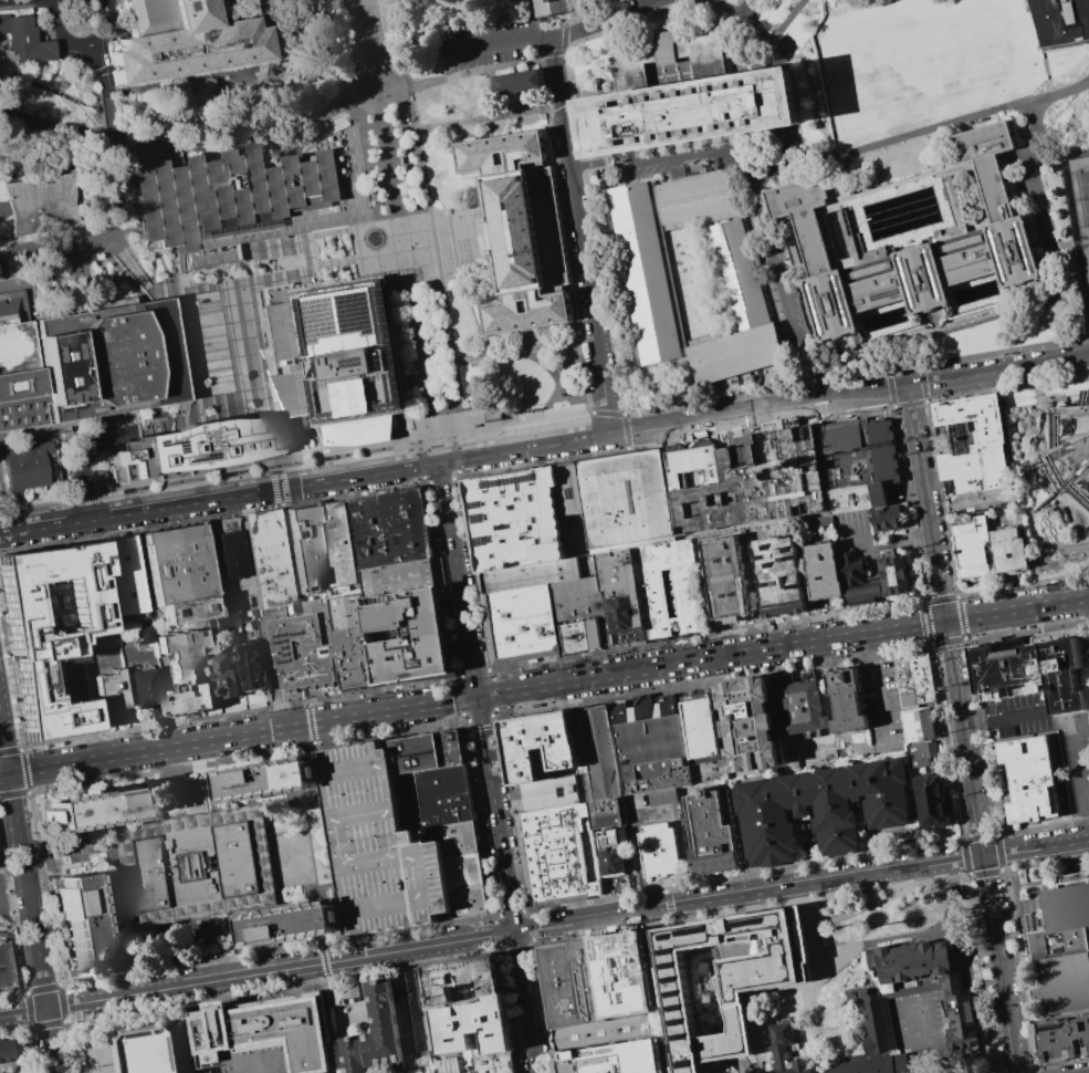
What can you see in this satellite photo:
road: (18, 0)
road: (55, 1)
road: (217, 2)
building: (551, 7)
road: (621, 7)
road: (750, 10)
road: (593, 12)
road: (659, 14)
road: (792, 15)
road: (607, 22)
road: (673, 22)
building: (1061, 22)
road: (753, 24)
road: (367, 31)
road: (564, 39)
building: (23, 40)
building: (182, 41)
road: (501, 41)
road: (82, 44)
parking lot: (488, 45)
building: (664, 45)
road: (554, 50)
road: (743, 50)
road: (565, 52)
road: (552, 54)
road: (666, 54)
road: (541, 60)
road: (452, 63)
road: (779, 65)
road: (102, 71)
road: (467, 75)
building: (517, 82)
road: (237, 83)
road: (609, 87)
road: (347, 92)
road: (575, 92)
road: (813, 94)
road: (241, 97)
road: (784, 97)
road: (570, 98)
road: (561, 102)
building: (687, 102)
road: (108, 104)
road: (188, 105)
road: (548, 107)
road: (1059, 114)
road: (486, 119)
road: (961, 121)
road: (111, 127)
road: (494, 131)
road: (586, 131)
road: (404, 133)
road: (772, 136)
road: (788, 136)
road: (282, 144)
road: (192, 146)
road: (803, 146)
road: (704, 153)
road: (1064, 156)
road: (768, 168)
road: (116, 171)
building: (232, 191)
park: (1082, 197)
building: (695, 198)
park: (1082, 198)
road: (561, 202)
parking lot: (1081, 205)
building: (45, 207)
road: (338, 209)
road: (430, 209)
road: (447, 209)
road: (442, 210)
road: (480, 210)
road: (115, 213)
building: (1079, 217)
road: (339, 230)
building: (521, 230)
road: (1053, 230)
road: (321, 235)
fountain: (377, 239)
building: (913, 241)
road: (583, 248)
road: (115, 249)
road: (64, 250)
road: (395, 252)
road: (405, 252)
road: (790, 252)
road: (407, 253)
road: (348, 254)
park: (1088, 260)
road: (321, 263)
building: (736, 272)
road: (477, 274)
building: (646, 274)
road: (336, 275)
road: (711, 278)
road: (783, 280)
road: (149, 283)
road: (158, 287)
rooftop solar panel: (341, 289)
road: (674, 292)
rooftop solar panel: (383, 304)
rooftop solar panel: (362, 309)
rooftop solar panel: (307, 312)
rooftop solar panel: (327, 313)
road: (475, 322)
road: (940, 333)
road: (588, 340)
rooftop solar panel: (70, 344)
road: (580, 344)
rooftop solar panel: (49, 345)
rooftop solar panel: (62, 351)
road: (523, 351)
building: (343, 354)
building: (736, 354)
rooftop solar panel: (364, 356)
building: (107, 361)
road: (440, 364)
building: (17, 366)
road: (614, 366)
rooftop solar panel: (61, 376)
road: (585, 377)
road: (561, 379)
road: (561, 382)
road: (922, 382)
rooftop solar panel: (395, 384)
rooftop solar panel: (78, 387)
road: (889, 387)
road: (1007, 388)
rooftop solar panel: (55, 392)
road: (849, 396)
rooftop solar panel: (320, 402)
road: (910, 403)
rooftop solar panel: (386, 404)
road: (290, 410)
rooftop solar panel: (334, 410)
road: (591, 412)
road: (855, 412)
road: (565, 414)
road: (608, 414)
parking lot: (142, 430)
road: (626, 430)
building: (358, 431)
road: (452, 437)
rooftop solar panel: (266, 439)
rooftop solar panel: (171, 440)
road: (420, 442)
building: (972, 444)
rooftop solar panel: (190, 446)
road: (287, 446)
road: (391, 446)
rooftop solar panel: (220, 447)
road: (629, 447)
road: (637, 447)
road: (525, 449)
building: (189, 450)
building: (1056, 451)
rooftop solar panel: (200, 452)
road: (437, 452)
rooftop solar panel: (159, 455)
road: (901, 455)
road: (454, 456)
road: (320, 459)
road: (87, 461)
road: (422, 462)
road: (55, 463)
traffic signals: (439, 463)
building: (23, 467)
road: (457, 472)
road: (454, 477)
road: (275, 478)
rooftop solar panel: (523, 478)
road: (440, 480)
building: (747, 480)
road: (428, 481)
road: (324, 482)
rooftop solar panel: (494, 483)
parking lot: (903, 483)
road: (1020, 486)
building: (983, 497)
road: (279, 498)
road: (942, 498)
road: (85, 499)
building: (625, 500)
road: (22, 503)
rooftop solar panel: (482, 503)
road: (926, 503)
road: (36, 507)
road: (149, 510)
road: (212, 517)
rooftop solar panel: (482, 518)
building: (888, 522)
road: (45, 528)
building: (528, 528)
building: (392, 531)
parking lot: (857, 533)
road: (923, 540)
rooftop solar panel: (484, 541)
building: (337, 545)
road: (878, 548)
building: (974, 548)
building: (1011, 550)
building: (304, 551)
road: (915, 552)
building: (228, 553)
road: (289, 561)
building: (268, 562)
rooftop solar panel: (771, 563)
building: (824, 570)
building: (178, 575)
building: (875, 575)
building: (125, 576)
building: (779, 576)
road: (474, 577)
road: (458, 580)
road: (440, 581)
building: (726, 581)
building: (401, 582)
road: (1023, 584)
building: (687, 592)
building: (619, 596)
building: (576, 598)
building: (245, 602)
road: (672, 607)
traffic signals: (946, 621)
building: (221, 623)
building: (521, 623)
building: (50, 627)
rooftop solar panel: (295, 633)
rooftop solar panel: (283, 634)
building: (578, 635)
road: (706, 635)
building: (143, 637)
building: (352, 637)
building: (410, 637)
road: (964, 638)
rooftop solar panel: (285, 639)
building: (105, 640)
road: (873, 645)
rooftop solar panel: (287, 646)
building: (301, 649)
parking lot: (1086, 652)
rooftop solar panel: (289, 653)
road: (301, 653)
rooftop solar panel: (289, 659)
building: (254, 666)
road: (488, 670)
road: (473, 673)
building: (1038, 673)
building: (186, 674)
building: (226, 677)
building: (913, 679)
road: (10, 685)
road: (548, 685)
road: (493, 687)
building: (142, 688)
building: (111, 690)
road: (458, 692)
traffic signals: (477, 697)
road: (881, 698)
building: (845, 700)
parking lot: (881, 705)
road: (308, 706)
building: (802, 710)
road: (241, 712)
parking lot: (1017, 713)
road: (1006, 719)
building: (752, 725)
building: (918, 725)
building: (703, 728)
road: (354, 733)
building: (540, 743)
building: (651, 743)
road: (4, 744)
building: (456, 752)
building: (924, 753)
building: (421, 758)
parking lot: (1076, 760)
building: (601, 769)
road: (4, 773)
traffic signals: (9, 773)
road: (24, 773)
road: (213, 778)
road: (1081, 778)
building: (1032, 779)
building: (270, 782)
road: (147, 788)
building: (551, 793)
building: (932, 801)
building: (441, 803)
road: (251, 805)
building: (826, 808)
building: (96, 810)
road: (495, 813)
road: (118, 825)
building: (712, 832)
road: (109, 840)
road: (331, 841)
road: (377, 842)
building: (465, 844)
road: (981, 846)
building: (387, 847)
parking lot: (387, 847)
building: (612, 851)
building: (660, 851)
building: (558, 855)
road: (302, 861)
road: (66, 862)
building: (195, 866)
road: (12, 871)
building: (471, 874)
parking lot: (950, 879)
road: (344, 881)
road: (802, 884)
road: (107, 895)
building: (475, 903)
road: (870, 903)
road: (268, 908)
road: (170, 917)
rooftop solar panel: (762, 919)
road: (32, 923)
building: (296, 923)
rooftop solar panel: (743, 923)
building: (81, 924)
road: (17, 929)
rooftop solar panel: (705, 929)
traffic signals: (515, 931)
rooftop solar panel: (689, 931)
rooftop solar panel: (672, 935)
road: (402, 939)
building: (1064, 948)
rooftop solar panel: (673, 950)
rooftop solar panel: (676, 966)
building: (4, 967)
road: (258, 972)
parking lot: (465, 973)
building: (459, 978)
building: (624, 980)
rooftop solar panel: (678, 980)
building: (730, 982)
road: (814, 986)
building: (576, 988)
rooftop solar panel: (681, 993)
road: (412, 996)
building: (959, 999)
road: (526, 1001)
rooftop solar panel: (682, 1008)
rooftop solar panel: (683, 1022)
building: (406, 1023)
building: (366, 1027)
building: (474, 1028)
building: (608, 1034)
building: (224, 1035)
rooftop solar panel: (687, 1036)
road: (918, 1038)
building: (1062, 1039)
building: (9, 1051)
building: (788, 1051)
building: (616, 1058)
building: (494, 1063)
rooftop solar panel: (691, 1064)
building: (870, 1065)

